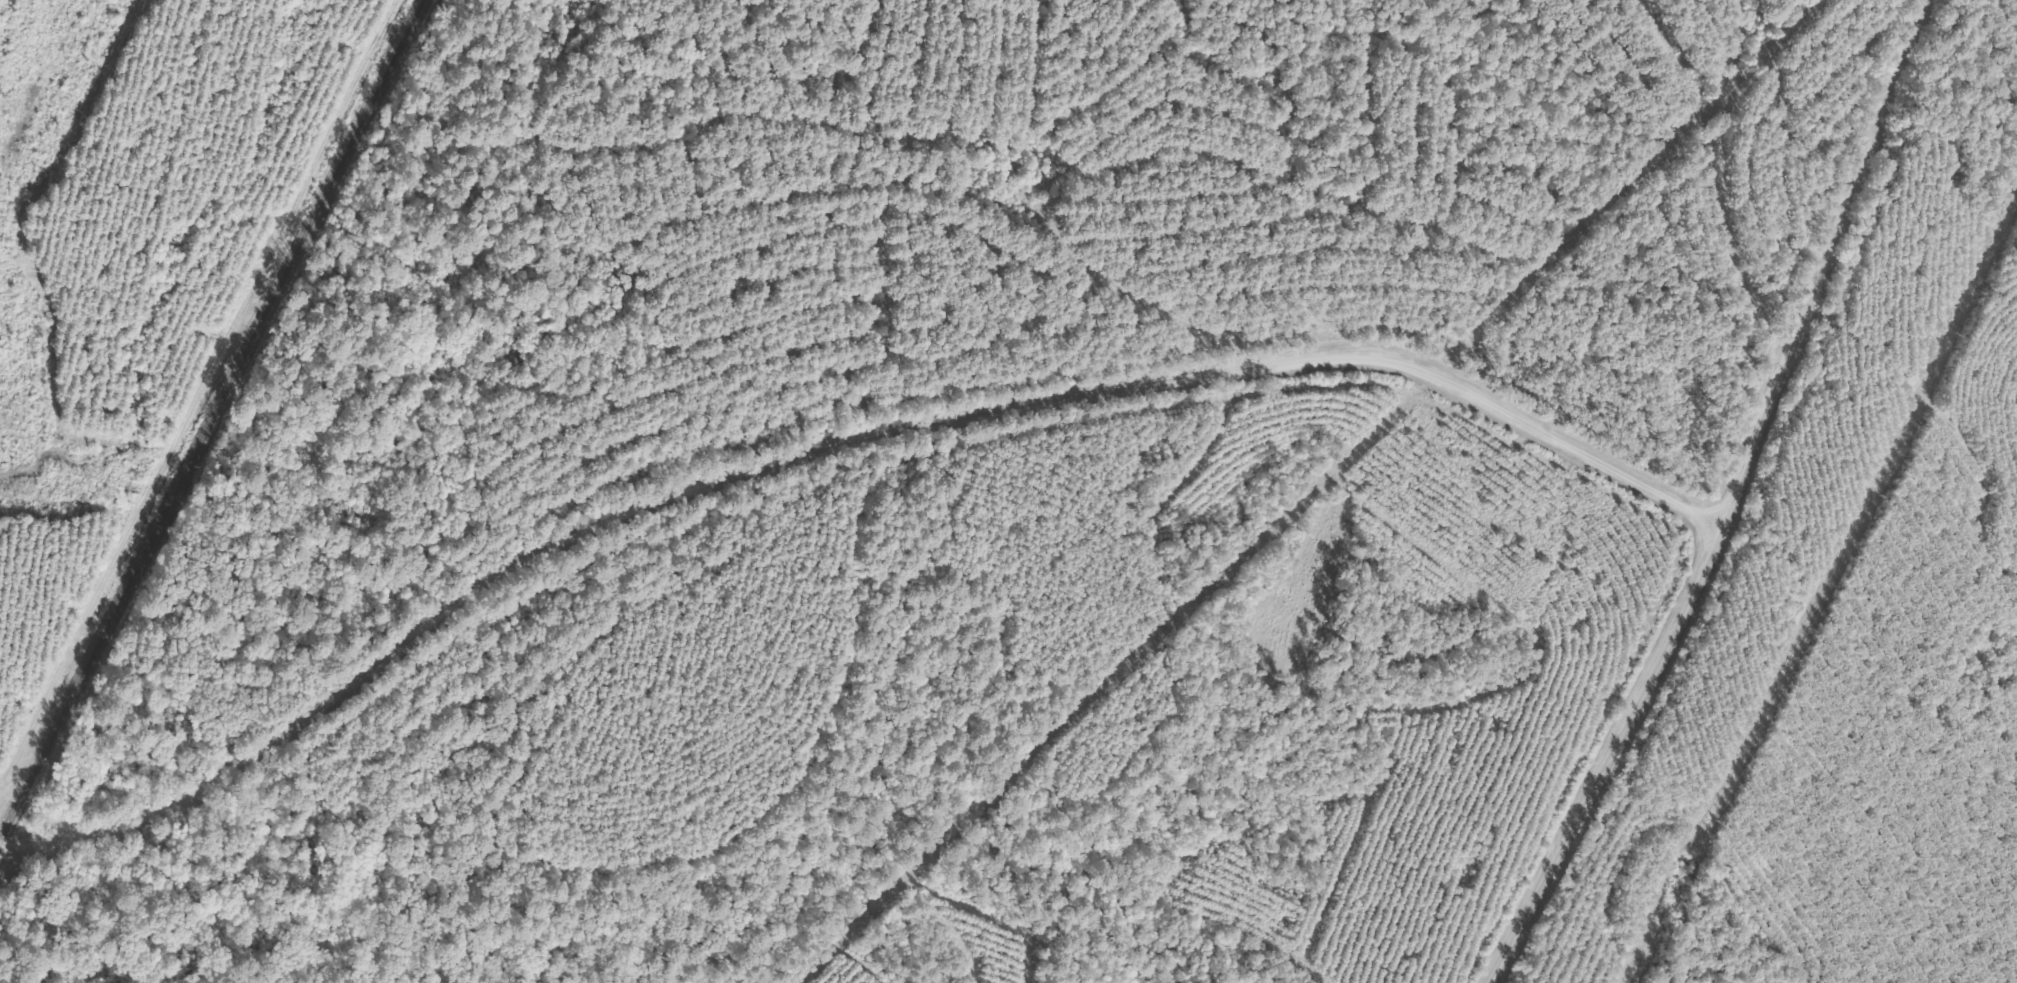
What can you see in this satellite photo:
road: (1865, 58)
road: (815, 412)
railway: (210, 416)
road: (1726, 493)

